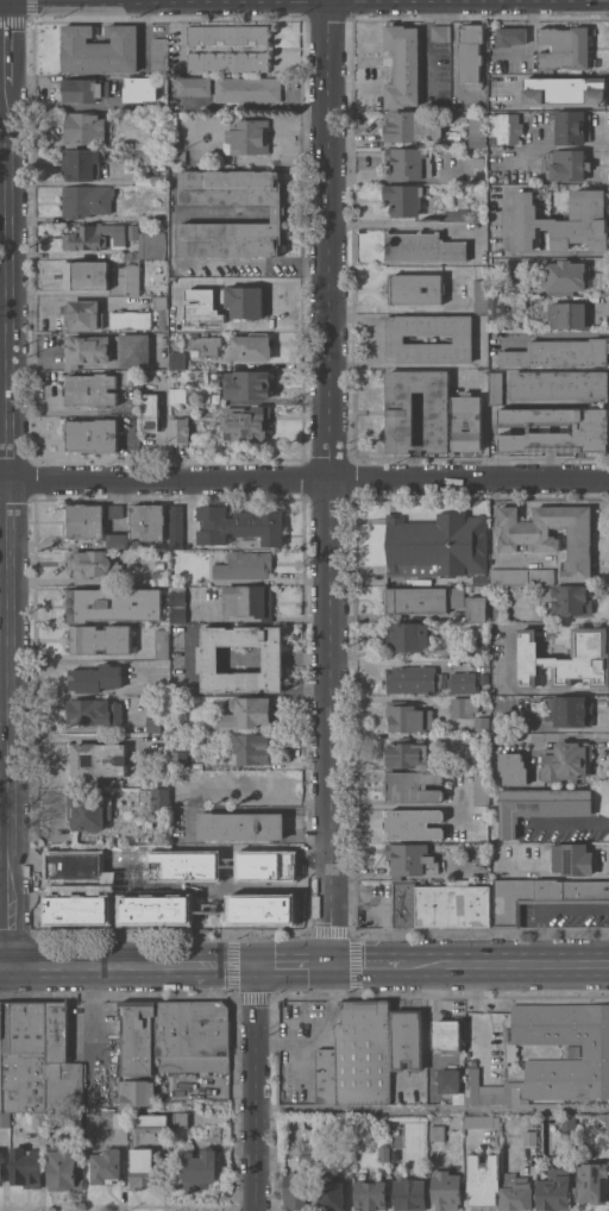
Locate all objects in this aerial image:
building: (174, 33)
building: (439, 33)
building: (227, 34)
building: (511, 36)
building: (565, 48)
building: (99, 49)
building: (470, 54)
building: (158, 56)
building: (228, 62)
building: (403, 65)
building: (195, 87)
building: (140, 88)
building: (83, 89)
building: (249, 89)
building: (565, 92)
building: (457, 118)
building: (83, 127)
building: (410, 127)
building: (571, 127)
building: (504, 128)
building: (478, 132)
road: (282, 134)
building: (247, 137)
building: (158, 142)
building: (176, 144)
building: (149, 157)
building: (408, 163)
building: (81, 164)
building: (565, 164)
building: (159, 180)
road: (172, 193)
building: (404, 199)
building: (87, 200)
road: (277, 211)
road: (303, 211)
building: (456, 214)
building: (277, 217)
building: (563, 221)
road: (406, 222)
building: (132, 232)
building: (94, 237)
building: (151, 245)
building: (422, 247)
road: (172, 251)
building: (87, 275)
building: (566, 276)
building: (132, 278)
building: (416, 288)
building: (177, 290)
building: (481, 295)
road: (77, 297)
building: (244, 301)
building: (161, 302)
building: (201, 306)
building: (497, 306)
building: (83, 314)
building: (569, 315)
building: (131, 319)
road: (555, 335)
building: (463, 339)
building: (206, 345)
building: (251, 347)
building: (87, 349)
building: (134, 350)
building: (559, 353)
building: (177, 359)
building: (481, 375)
building: (130, 376)
building: (246, 383)
building: (560, 384)
building: (495, 388)
building: (90, 389)
building: (182, 396)
building: (151, 412)
building: (400, 412)
building: (246, 422)
building: (466, 422)
building: (178, 428)
building: (590, 428)
building: (92, 435)
road: (303, 479)
road: (8, 483)
road: (327, 483)
road: (187, 509)
building: (115, 510)
building: (86, 521)
building: (147, 522)
building: (240, 525)
building: (176, 526)
building: (551, 535)
building: (113, 541)
building: (435, 547)
building: (157, 556)
building: (93, 564)
building: (158, 565)
building: (245, 565)
building: (522, 576)
building: (161, 577)
building: (481, 581)
building: (205, 582)
building: (477, 588)
building: (423, 598)
building: (571, 600)
building: (249, 602)
building: (114, 604)
building: (178, 605)
building: (476, 609)
building: (500, 611)
building: (406, 638)
building: (100, 639)
building: (162, 644)
building: (481, 650)
road: (77, 655)
building: (208, 659)
building: (566, 659)
building: (95, 678)
building: (484, 678)
building: (412, 679)
building: (462, 682)
road: (560, 690)
building: (572, 710)
building: (94, 711)
building: (247, 713)
building: (469, 713)
building: (408, 716)
building: (153, 723)
building: (252, 748)
building: (407, 753)
building: (98, 759)
building: (178, 760)
building: (566, 760)
building: (481, 763)
building: (513, 768)
building: (251, 785)
building: (412, 786)
building: (481, 788)
building: (183, 795)
building: (155, 798)
building: (540, 805)
road: (255, 808)
building: (87, 811)
road: (571, 822)
building: (481, 823)
building: (413, 824)
building: (240, 826)
building: (497, 858)
building: (410, 859)
building: (572, 859)
building: (479, 861)
building: (541, 896)
building: (404, 904)
building: (453, 906)
road: (545, 906)
road: (127, 966)
traffic signals: (257, 966)
road: (293, 966)
traffic signals: (329, 966)
road: (372, 966)
road: (513, 966)
building: (138, 1036)
building: (193, 1036)
building: (446, 1036)
building: (407, 1040)
building: (572, 1052)
building: (596, 1052)
building: (363, 1053)
building: (24, 1056)
building: (1, 1060)
building: (61, 1063)
building: (326, 1075)
building: (451, 1084)
building: (472, 1085)
road: (258, 1087)
building: (136, 1093)
road: (433, 1109)
building: (180, 1116)
building: (5, 1119)
building: (39, 1119)
building: (74, 1121)
building: (478, 1121)
building: (569, 1122)
building: (151, 1123)
building: (608, 1123)
building: (437, 1132)
building: (529, 1137)
building: (384, 1153)
building: (307, 1161)
building: (106, 1166)
building: (26, 1167)
building: (1, 1168)
building: (142, 1168)
building: (197, 1168)
building: (63, 1169)
building: (483, 1180)
building: (592, 1181)
building: (296, 1190)
building: (446, 1190)
building: (554, 1191)
building: (516, 1192)
building: (332, 1193)
building: (410, 1193)
building: (370, 1194)

